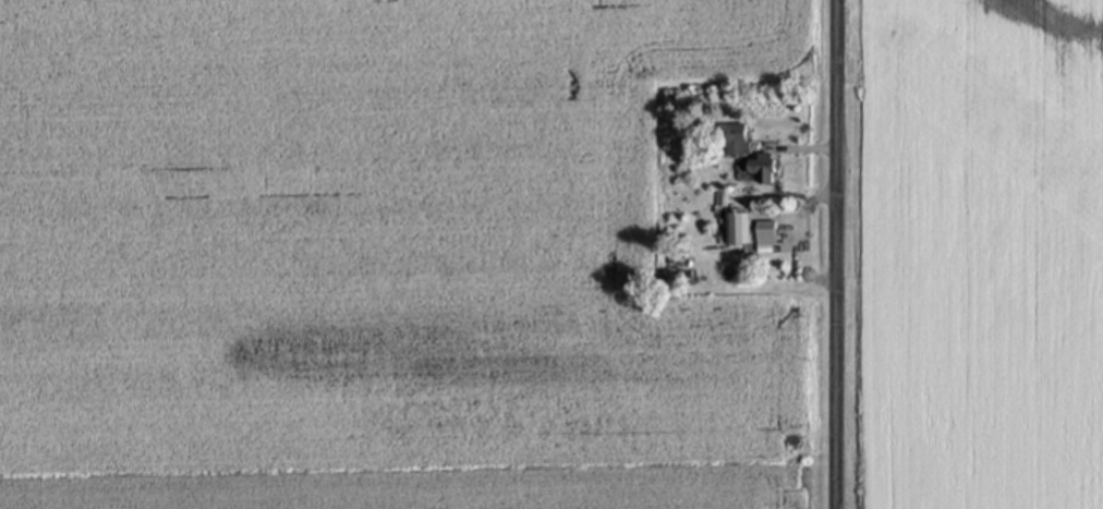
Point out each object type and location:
building: (732, 140)
building: (763, 169)
building: (766, 233)
road: (838, 254)

